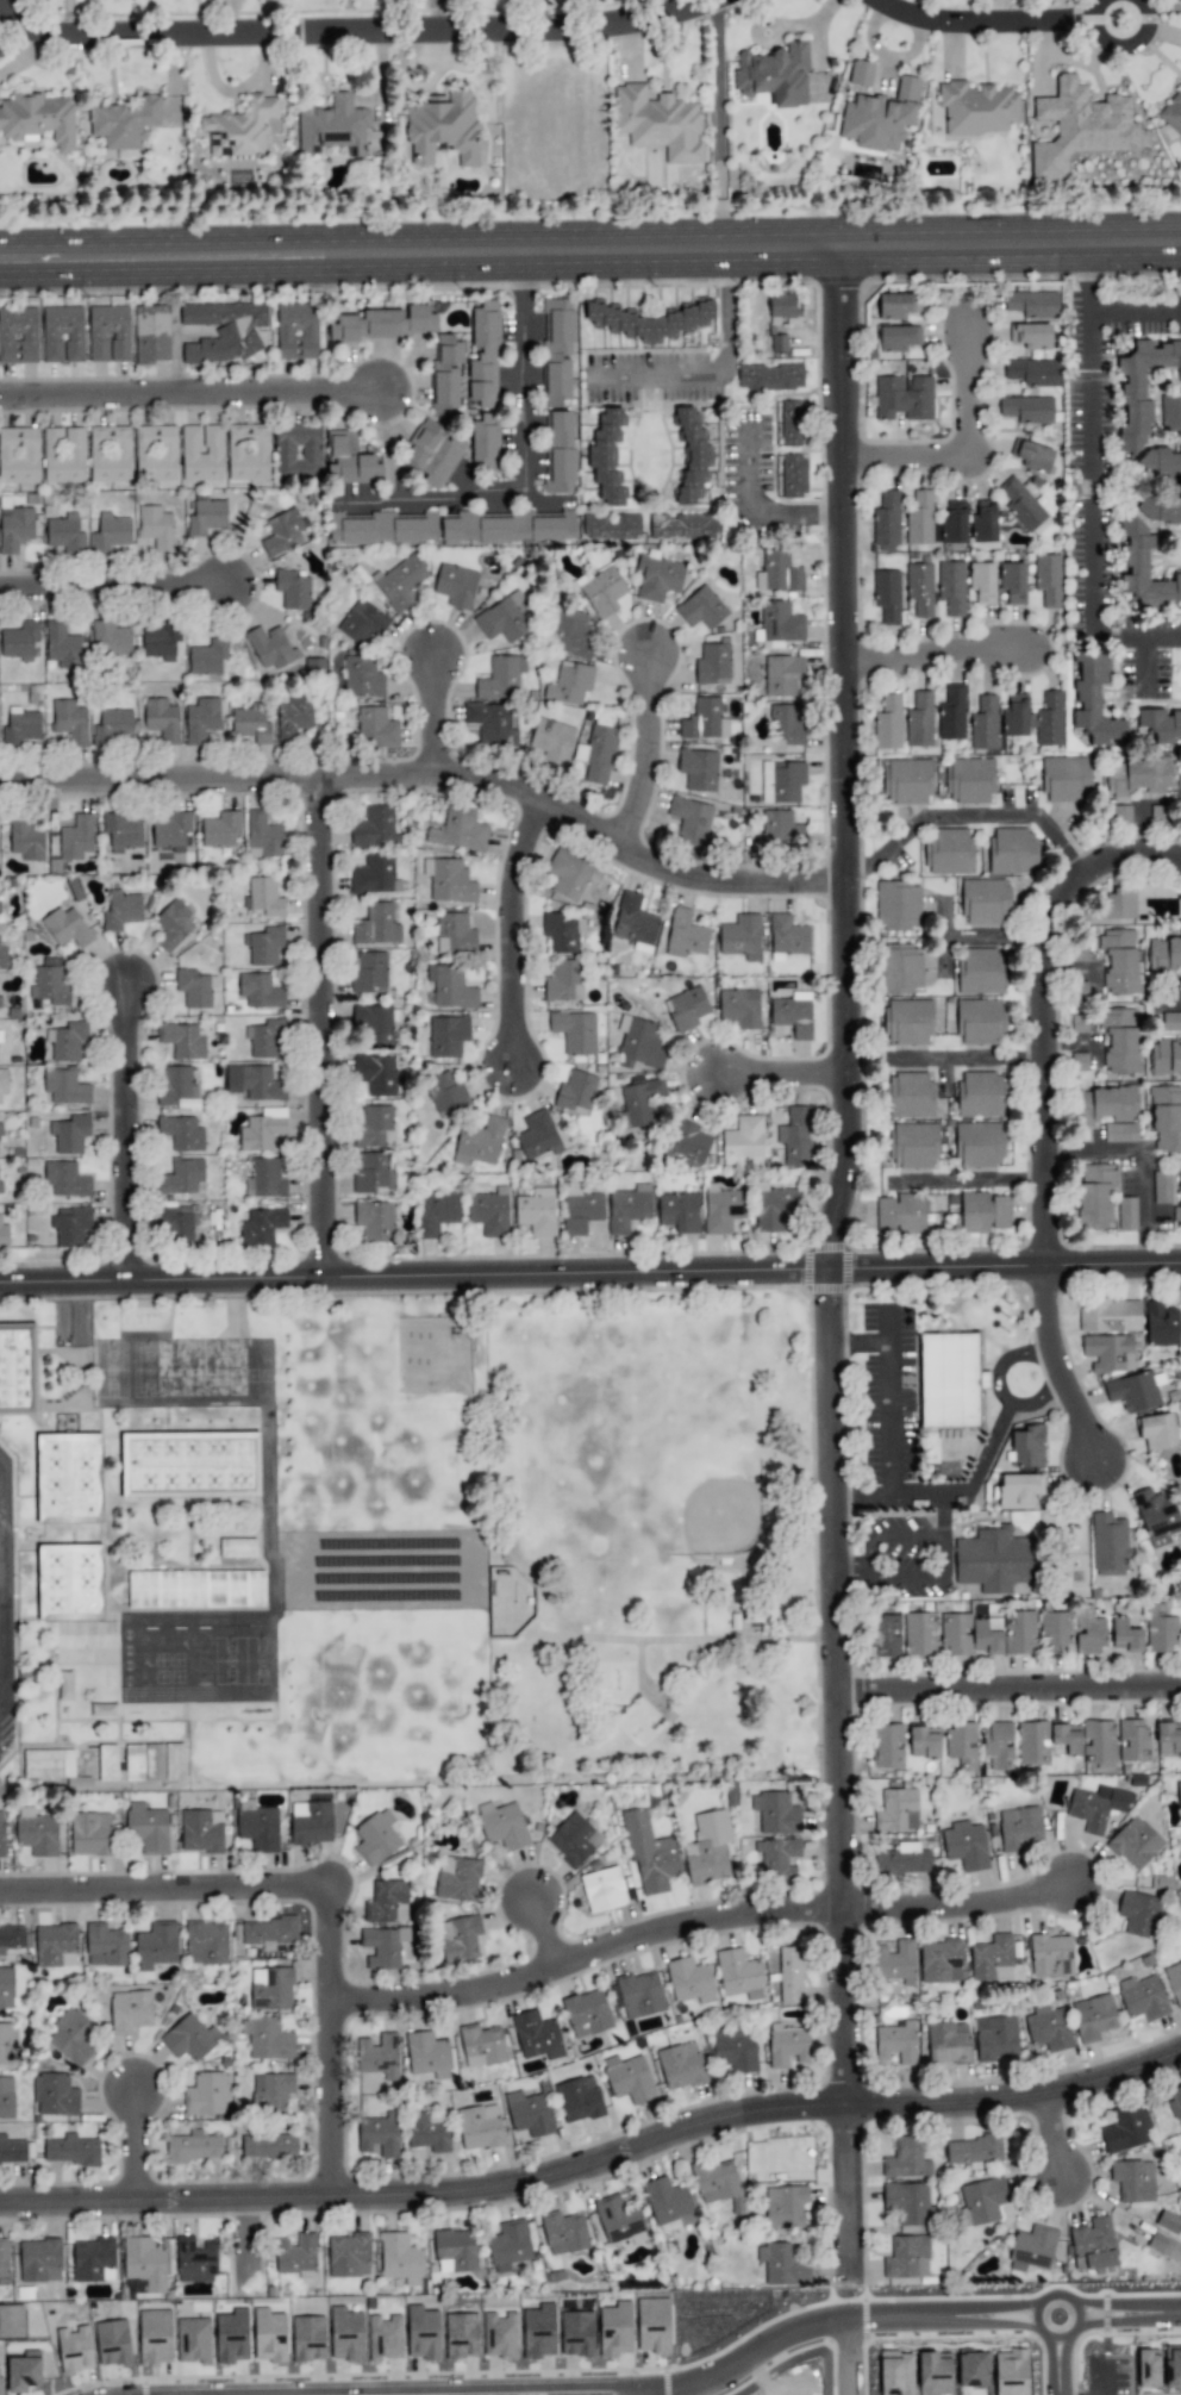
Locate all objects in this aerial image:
road: (981, 29)
road: (351, 37)
building: (860, 73)
building: (774, 74)
road: (718, 100)
building: (976, 107)
building: (1171, 113)
building: (880, 117)
building: (38, 119)
building: (124, 123)
building: (657, 123)
building: (332, 126)
building: (1079, 126)
building: (239, 127)
building: (443, 127)
road: (720, 223)
road: (950, 243)
road: (360, 254)
building: (1032, 304)
building: (783, 306)
building: (898, 306)
road: (1136, 310)
building: (649, 320)
building: (382, 324)
building: (224, 330)
building: (296, 331)
building: (62, 333)
building: (108, 333)
building: (151, 333)
building: (18, 335)
building: (1031, 336)
building: (896, 337)
building: (557, 350)
building: (483, 354)
building: (1032, 372)
building: (445, 375)
building: (769, 376)
road: (720, 379)
road: (192, 386)
building: (1141, 388)
building: (902, 398)
building: (1027, 408)
building: (1170, 411)
building: (791, 423)
road: (964, 435)
building: (485, 443)
building: (248, 451)
building: (296, 451)
building: (560, 451)
building: (155, 453)
building: (201, 453)
building: (108, 454)
building: (431, 454)
building: (18, 455)
building: (63, 455)
building: (1032, 455)
building: (691, 456)
building: (606, 459)
building: (349, 460)
building: (1158, 464)
road: (524, 466)
building: (793, 475)
road: (1092, 482)
building: (1020, 504)
building: (1160, 509)
road: (752, 511)
building: (205, 516)
building: (919, 516)
building: (886, 518)
building: (954, 522)
building: (983, 522)
building: (155, 526)
building: (507, 526)
building: (611, 526)
building: (682, 526)
building: (381, 528)
building: (14, 529)
building: (283, 532)
building: (63, 534)
building: (110, 535)
building: (1144, 569)
building: (777, 573)
building: (657, 576)
building: (1048, 579)
road: (113, 582)
building: (400, 582)
building: (982, 582)
building: (1012, 582)
building: (455, 585)
building: (951, 587)
building: (293, 588)
building: (919, 588)
building: (601, 591)
building: (886, 595)
building: (701, 609)
building: (502, 618)
building: (780, 622)
building: (361, 623)
building: (571, 632)
building: (110, 638)
building: (19, 641)
building: (161, 641)
building: (62, 645)
building: (269, 647)
road: (937, 648)
building: (207, 657)
building: (712, 665)
road: (1148, 667)
building: (782, 675)
building: (362, 678)
building: (500, 678)
building: (569, 682)
building: (1094, 700)
road: (435, 712)
building: (951, 713)
building: (293, 718)
building: (1033, 718)
building: (161, 719)
building: (201, 719)
building: (704, 719)
building: (919, 719)
building: (69, 722)
building: (490, 723)
building: (887, 723)
building: (983, 723)
building: (786, 724)
building: (250, 725)
building: (1158, 725)
building: (20, 728)
building: (113, 728)
building: (376, 728)
building: (550, 741)
road: (649, 748)
building: (596, 751)
building: (698, 769)
road: (436, 773)
building: (1136, 775)
building: (1066, 779)
building: (969, 780)
building: (781, 781)
building: (906, 781)
building: (1180, 803)
building: (1120, 813)
road: (970, 817)
building: (691, 821)
building: (374, 828)
building: (780, 828)
building: (220, 829)
building: (458, 830)
building: (120, 832)
building: (173, 832)
building: (262, 836)
building: (76, 837)
building: (25, 840)
building: (948, 850)
building: (1012, 850)
building: (374, 874)
building: (569, 877)
building: (448, 880)
building: (263, 897)
building: (985, 902)
building: (896, 905)
building: (1111, 906)
building: (120, 910)
building: (633, 922)
building: (173, 924)
building: (376, 925)
building: (65, 927)
road: (514, 927)
building: (562, 931)
building: (454, 934)
building: (683, 935)
building: (787, 935)
road: (993, 935)
building: (741, 937)
building: (264, 944)
building: (1079, 953)
building: (1163, 953)
building: (2, 958)
building: (1118, 961)
building: (900, 968)
building: (981, 971)
building: (369, 973)
building: (50, 981)
building: (563, 981)
building: (194, 987)
building: (450, 987)
building: (258, 991)
building: (1081, 992)
building: (0, 1002)
building: (686, 1008)
building: (739, 1008)
road: (1042, 1011)
building: (793, 1013)
building: (980, 1021)
building: (907, 1022)
building: (1170, 1022)
building: (1079, 1023)
building: (373, 1025)
road: (324, 1027)
building: (574, 1031)
building: (446, 1035)
building: (265, 1039)
building: (1119, 1040)
building: (68, 1041)
building: (182, 1041)
building: (4, 1042)
building: (638, 1043)
road: (1068, 1048)
building: (1164, 1056)
road: (967, 1059)
building: (1079, 1061)
road: (786, 1072)
building: (375, 1074)
building: (4, 1080)
building: (254, 1083)
building: (64, 1086)
building: (176, 1089)
building: (445, 1092)
building: (575, 1092)
building: (908, 1094)
building: (980, 1094)
building: (638, 1102)
building: (1105, 1104)
building: (1166, 1118)
building: (373, 1125)
building: (262, 1129)
building: (1119, 1131)
building: (180, 1133)
building: (69, 1134)
road: (130, 1134)
building: (537, 1135)
building: (795, 1136)
building: (743, 1139)
building: (479, 1142)
building: (687, 1143)
building: (912, 1145)
building: (979, 1145)
road: (1136, 1164)
building: (371, 1173)
building: (181, 1175)
building: (1179, 1175)
building: (267, 1178)
road: (967, 1178)
building: (64, 1179)
building: (0, 1187)
building: (1162, 1187)
building: (1095, 1195)
building: (627, 1208)
building: (773, 1209)
building: (580, 1210)
building: (721, 1210)
building: (488, 1211)
building: (536, 1211)
building: (679, 1211)
building: (436, 1212)
building: (982, 1212)
building: (900, 1214)
building: (1126, 1214)
building: (1176, 1215)
building: (374, 1221)
building: (69, 1225)
building: (177, 1225)
building: (261, 1225)
building: (4, 1235)
road: (833, 1261)
road: (590, 1276)
building: (1108, 1315)
building: (1161, 1324)
road: (862, 1342)
building: (1107, 1353)
road: (1007, 1358)
road: (1061, 1366)
building: (17, 1368)
building: (949, 1379)
building: (1135, 1391)
road: (889, 1399)
building: (1157, 1430)
building: (1027, 1446)
building: (189, 1465)
road: (971, 1477)
building: (68, 1478)
building: (1018, 1490)
road: (942, 1514)
building: (1156, 1516)
park: (652, 1534)
road: (887, 1536)
building: (1107, 1543)
building: (237, 1547)
building: (994, 1560)
road: (850, 1574)
road: (925, 1574)
building: (69, 1582)
building: (195, 1589)
building: (1160, 1629)
building: (1071, 1632)
building: (1004, 1633)
building: (919, 1634)
building: (955, 1634)
building: (885, 1635)
building: (1124, 1635)
road: (1010, 1688)
building: (1067, 1738)
building: (1168, 1739)
building: (1132, 1740)
building: (1098, 1741)
building: (924, 1742)
building: (962, 1744)
building: (998, 1744)
building: (1032, 1744)
building: (887, 1745)
building: (174, 1761)
building: (107, 1763)
building: (144, 1763)
building: (49, 1764)
building: (1179, 1800)
building: (1096, 1807)
building: (896, 1810)
building: (775, 1813)
building: (310, 1822)
building: (501, 1825)
building: (146, 1828)
building: (257, 1828)
building: (1018, 1828)
building: (200, 1830)
building: (36, 1832)
building: (90, 1833)
building: (1, 1834)
building: (376, 1836)
building: (573, 1839)
building: (1135, 1842)
building: (964, 1845)
building: (707, 1847)
building: (648, 1852)
building: (777, 1858)
building: (901, 1860)
building: (457, 1878)
building: (604, 1886)
road: (164, 1889)
building: (386, 1902)
road: (955, 1903)
building: (1138, 1913)
road: (546, 1932)
building: (269, 1933)
building: (11, 1936)
building: (458, 1938)
building: (206, 1942)
building: (55, 1945)
building: (105, 1945)
building: (155, 1945)
building: (382, 1947)
road: (586, 1953)
building: (1050, 1956)
building: (992, 1959)
building: (894, 1961)
building: (941, 1961)
building: (738, 1975)
building: (791, 1975)
building: (689, 1981)
building: (1174, 1982)
building: (6, 1988)
building: (270, 1989)
building: (638, 1994)
building: (1142, 1997)
building: (129, 2010)
building: (586, 2013)
building: (1093, 2017)
building: (1048, 2028)
building: (536, 2035)
building: (73, 2037)
building: (189, 2038)
building: (267, 2038)
building: (995, 2038)
road: (331, 2039)
building: (896, 2042)
building: (946, 2042)
building: (481, 2045)
building: (786, 2045)
building: (7, 2047)
building: (735, 2047)
building: (427, 2054)
building: (379, 2056)
building: (680, 2065)
building: (627, 2078)
building: (270, 2092)
building: (206, 2094)
building: (54, 2095)
building: (6, 2097)
building: (577, 2098)
building: (1175, 2103)
building: (529, 2113)
building: (479, 2127)
building: (1126, 2128)
building: (427, 2131)
road: (1051, 2131)
building: (379, 2135)
road: (135, 2140)
building: (268, 2145)
building: (194, 2146)
building: (70, 2150)
building: (973, 2150)
building: (12, 2151)
road: (595, 2157)
building: (905, 2158)
building: (717, 2178)
building: (1132, 2179)
building: (906, 2201)
building: (981, 2201)
building: (667, 2203)
building: (785, 2207)
building: (618, 2218)
building: (1168, 2222)
building: (563, 2233)
building: (1093, 2244)
road: (246, 2245)
building: (508, 2245)
building: (1033, 2246)
building: (1164, 2246)
building: (455, 2251)
building: (296, 2256)
building: (348, 2256)
building: (906, 2257)
building: (4, 2258)
building: (400, 2258)
building: (92, 2259)
building: (194, 2259)
building: (39, 2260)
building: (143, 2262)
building: (783, 2263)
road: (1131, 2313)
building: (12, 2321)
road: (824, 2322)
building: (654, 2325)
building: (616, 2329)
building: (538, 2331)
building: (421, 2333)
building: (576, 2333)
building: (345, 2334)
building: (231, 2335)
building: (269, 2335)
building: (461, 2335)
building: (500, 2335)
road: (1069, 2335)
building: (154, 2337)
building: (383, 2337)
building: (193, 2339)
building: (307, 2339)
building: (112, 2341)
building: (74, 2349)
road: (852, 2356)
road: (1063, 2365)
building: (1173, 2365)
building: (1148, 2368)
building: (971, 2369)
building: (23, 2371)
building: (895, 2372)
building: (933, 2372)
building: (1011, 2372)
building: (0, 2378)
road: (648, 2394)

